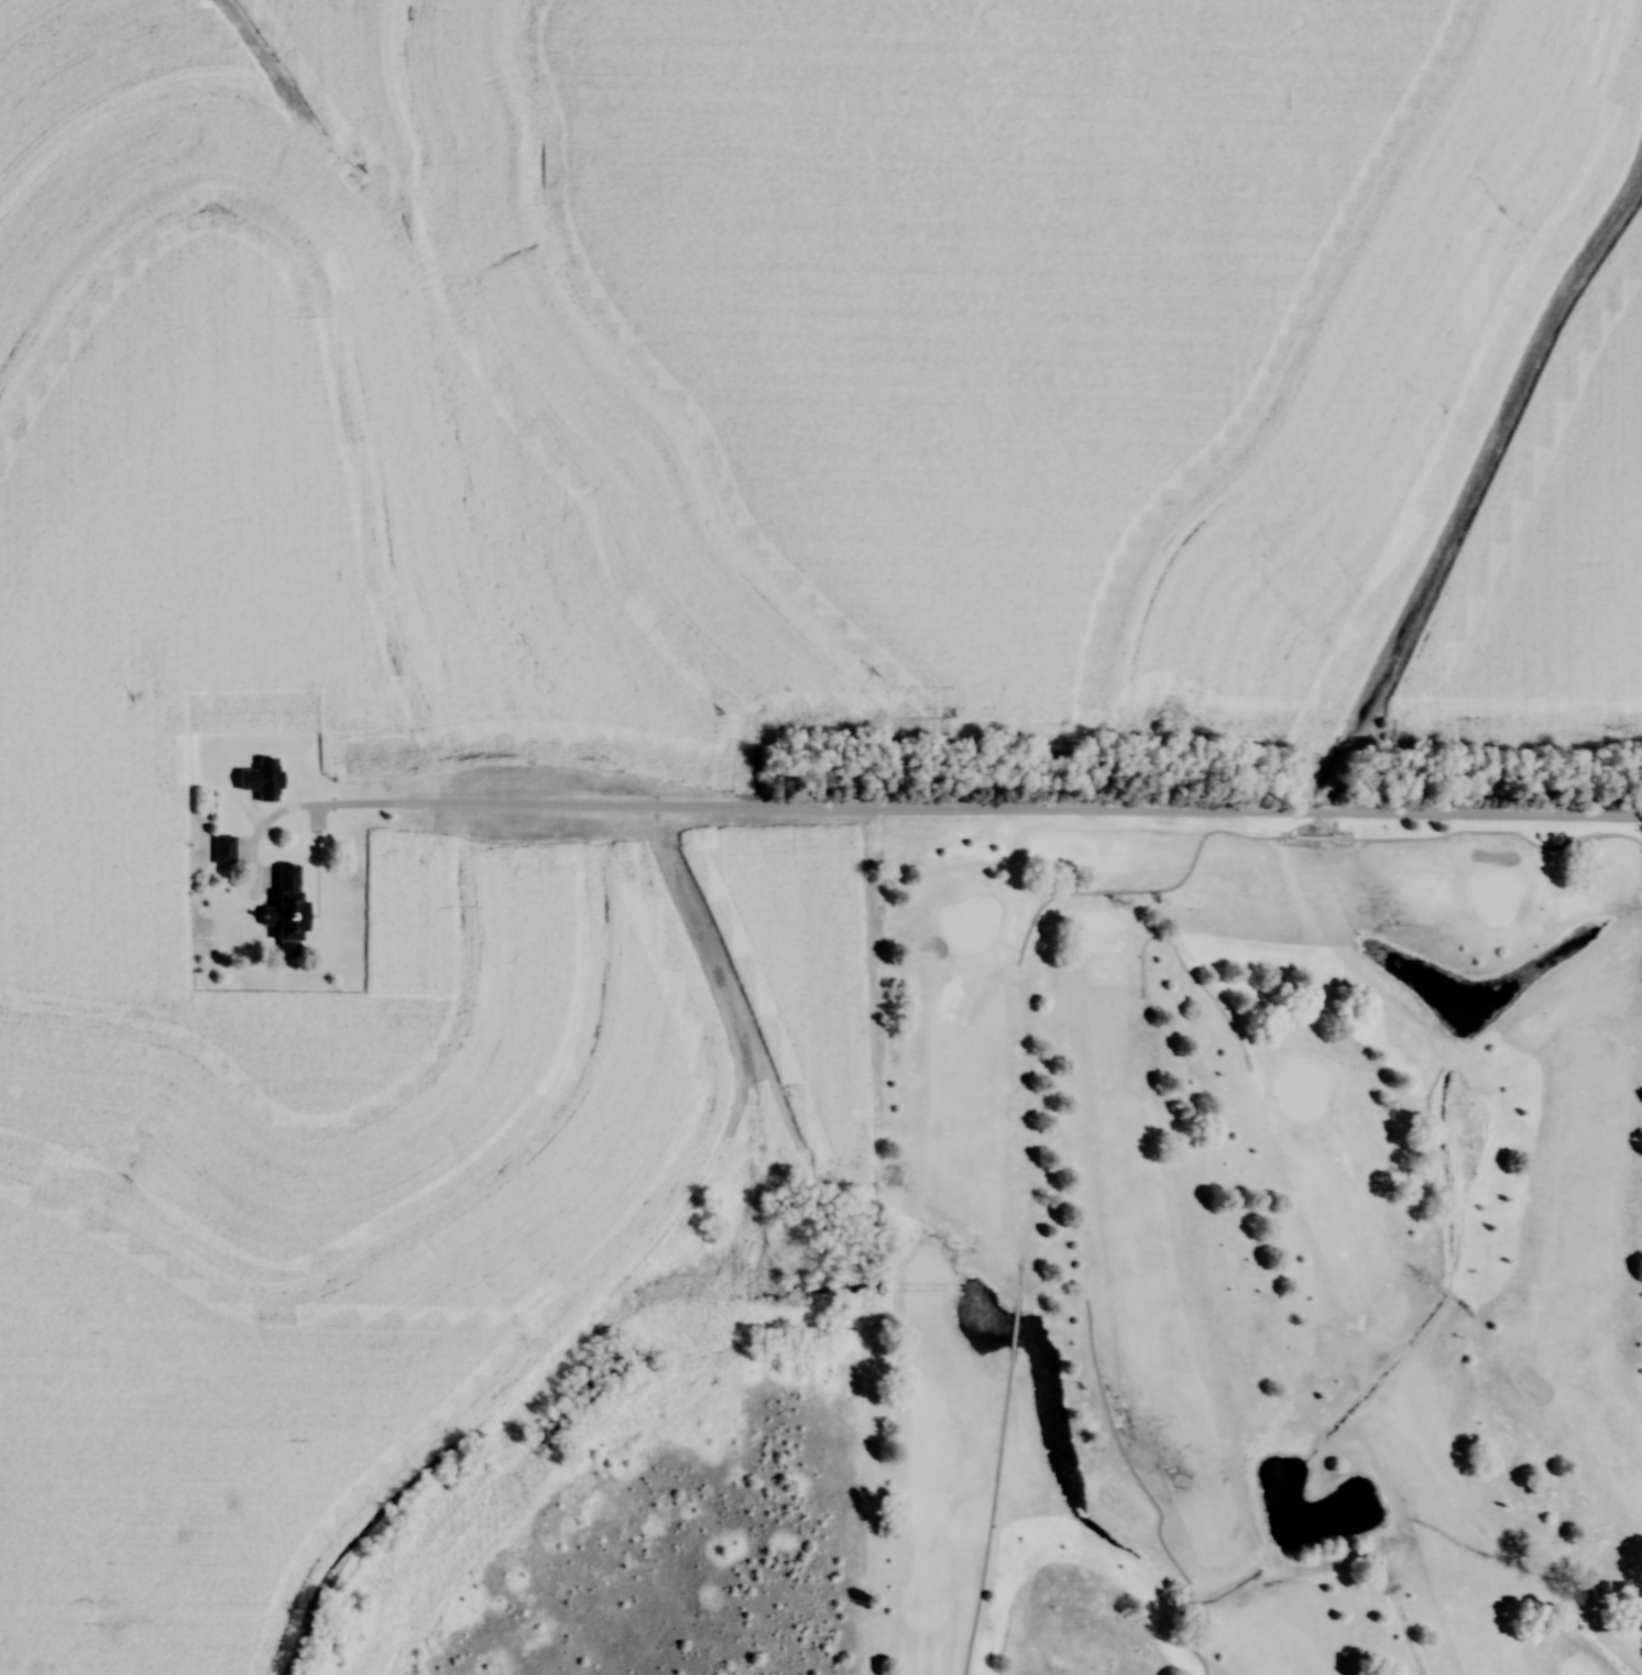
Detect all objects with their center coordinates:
road: (939, 812)
road: (1296, 835)
building: (221, 849)
building: (282, 908)
road: (1185, 970)
park: (1259, 1258)
road: (1018, 1280)
road: (1014, 1325)
road: (1151, 1498)
road: (988, 1517)

